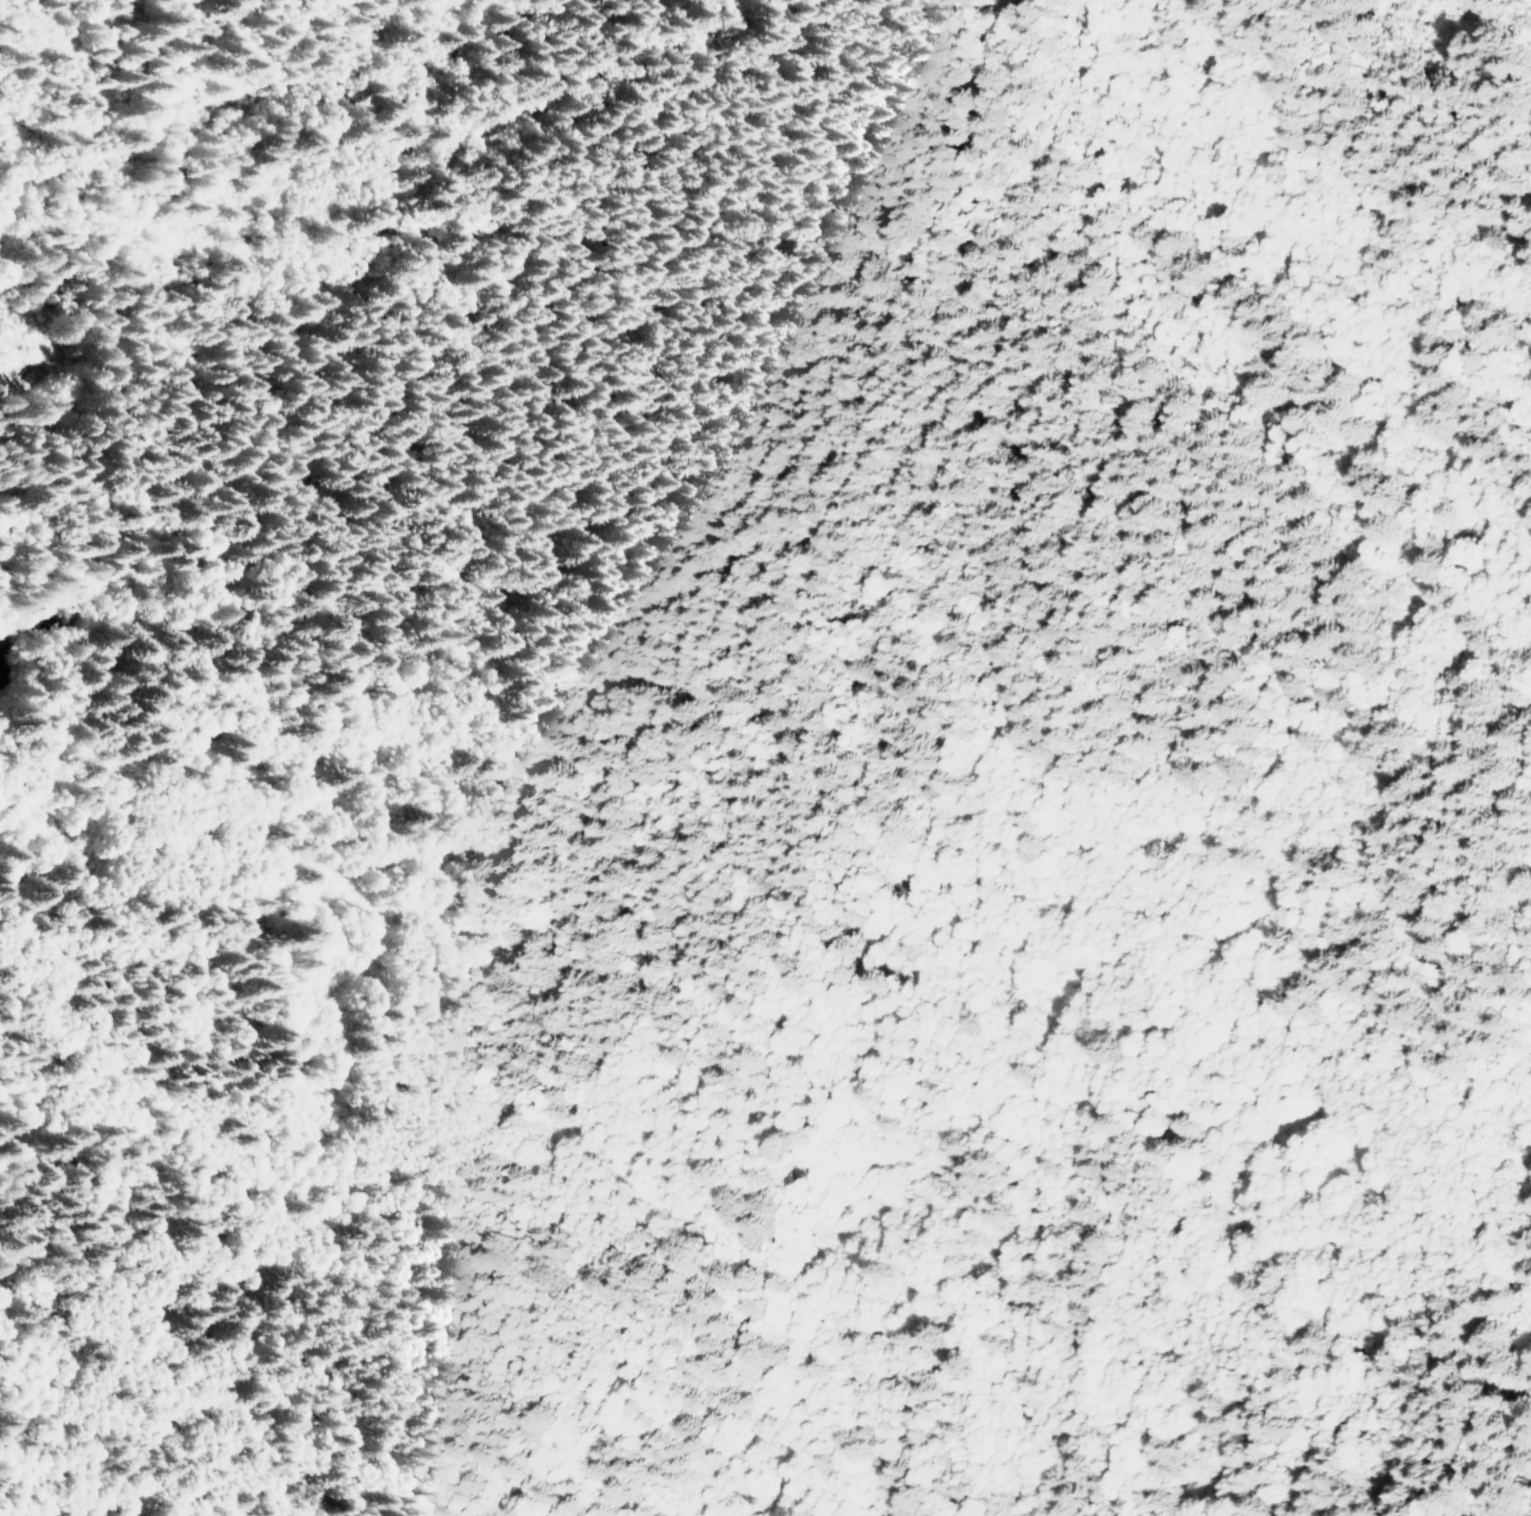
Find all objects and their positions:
road: (1473, 12)

